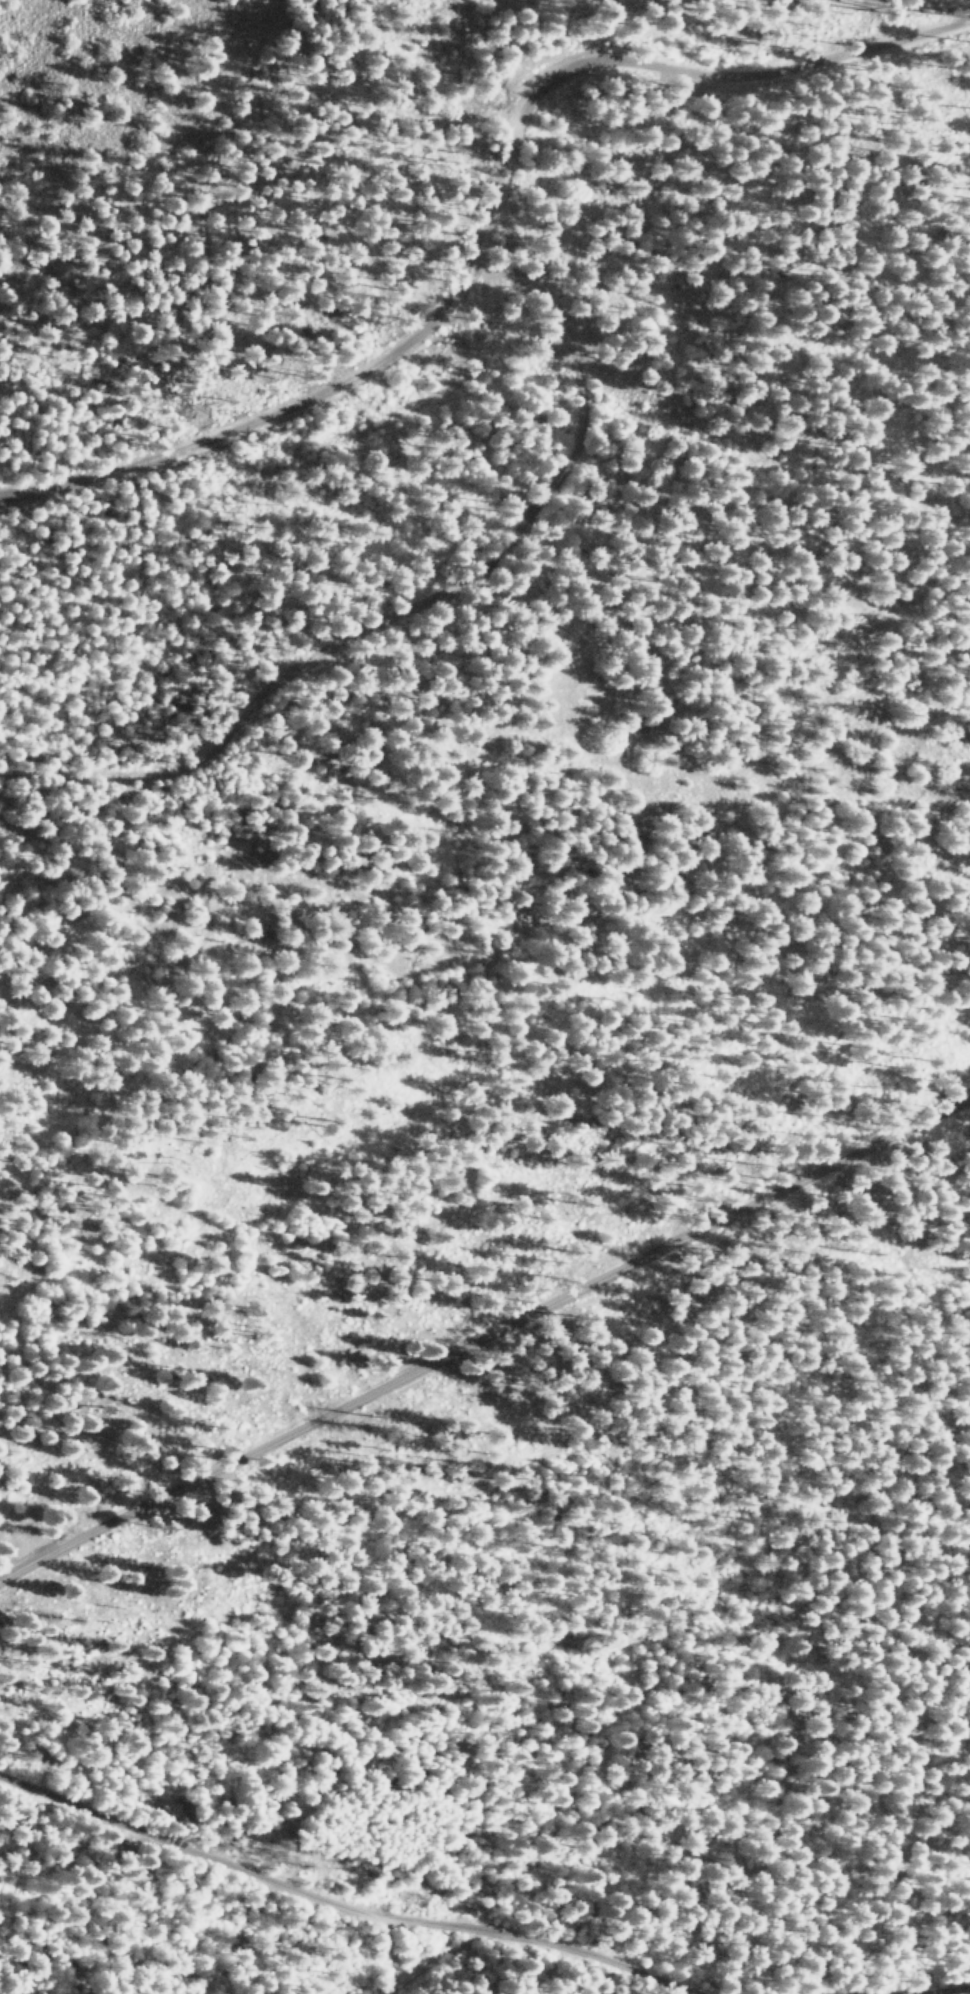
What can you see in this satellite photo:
road: (955, 2)
road: (491, 223)
road: (423, 598)
road: (483, 1338)
road: (363, 1915)
road: (396, 1953)
road: (439, 1960)
road: (930, 1989)

